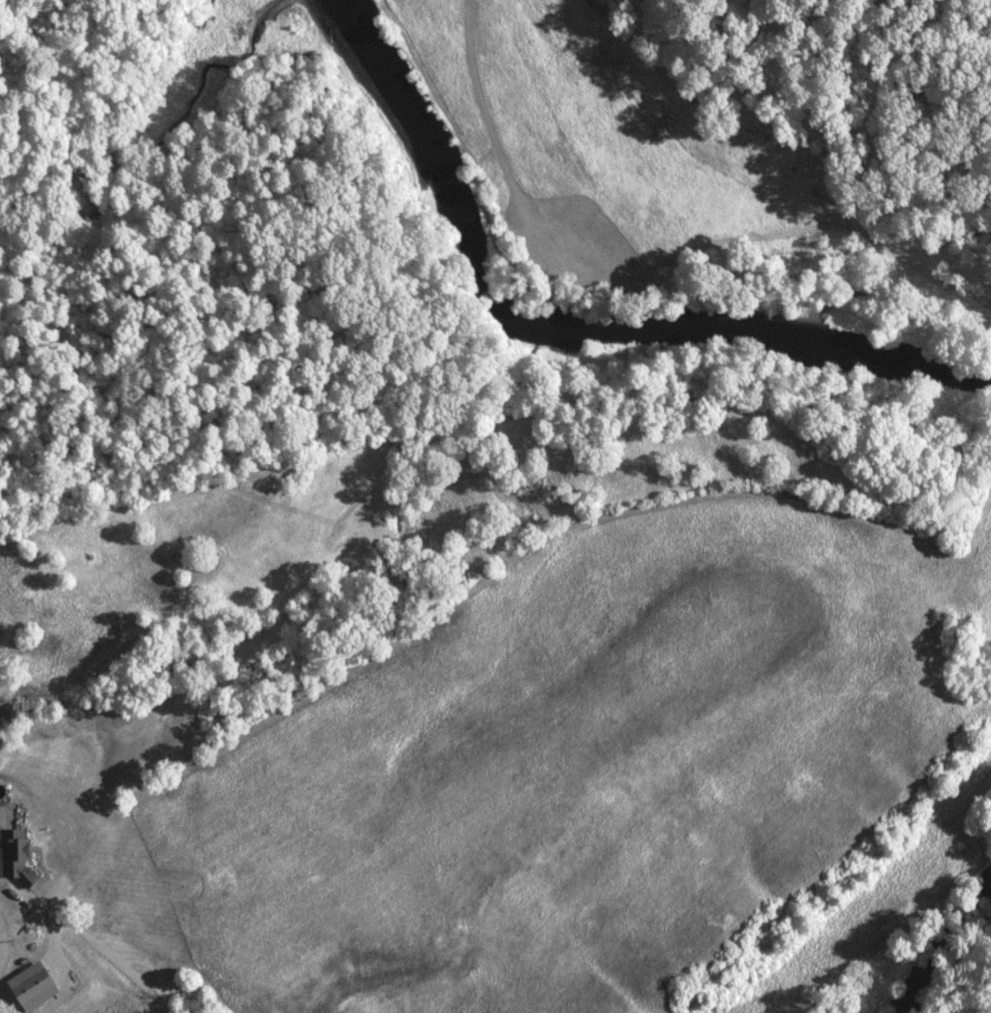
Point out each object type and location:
river: (579, 328)
building: (17, 855)
road: (109, 958)
river: (954, 978)

